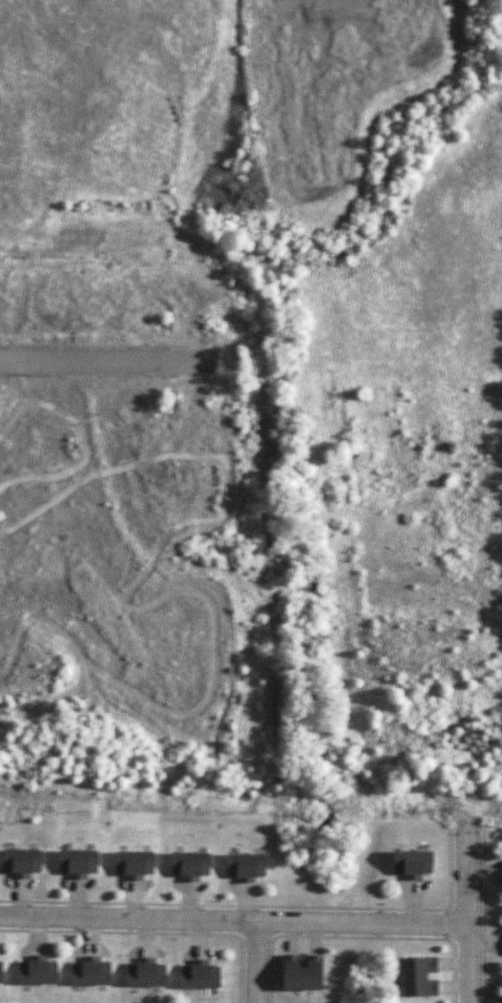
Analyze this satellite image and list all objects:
road: (109, 363)
building: (22, 862)
building: (78, 863)
building: (411, 863)
building: (134, 864)
building: (190, 865)
building: (245, 866)
road: (469, 910)
road: (234, 922)
road: (256, 963)
building: (38, 970)
building: (1, 971)
building: (91, 972)
building: (301, 972)
building: (146, 973)
building: (200, 975)
building: (417, 976)

